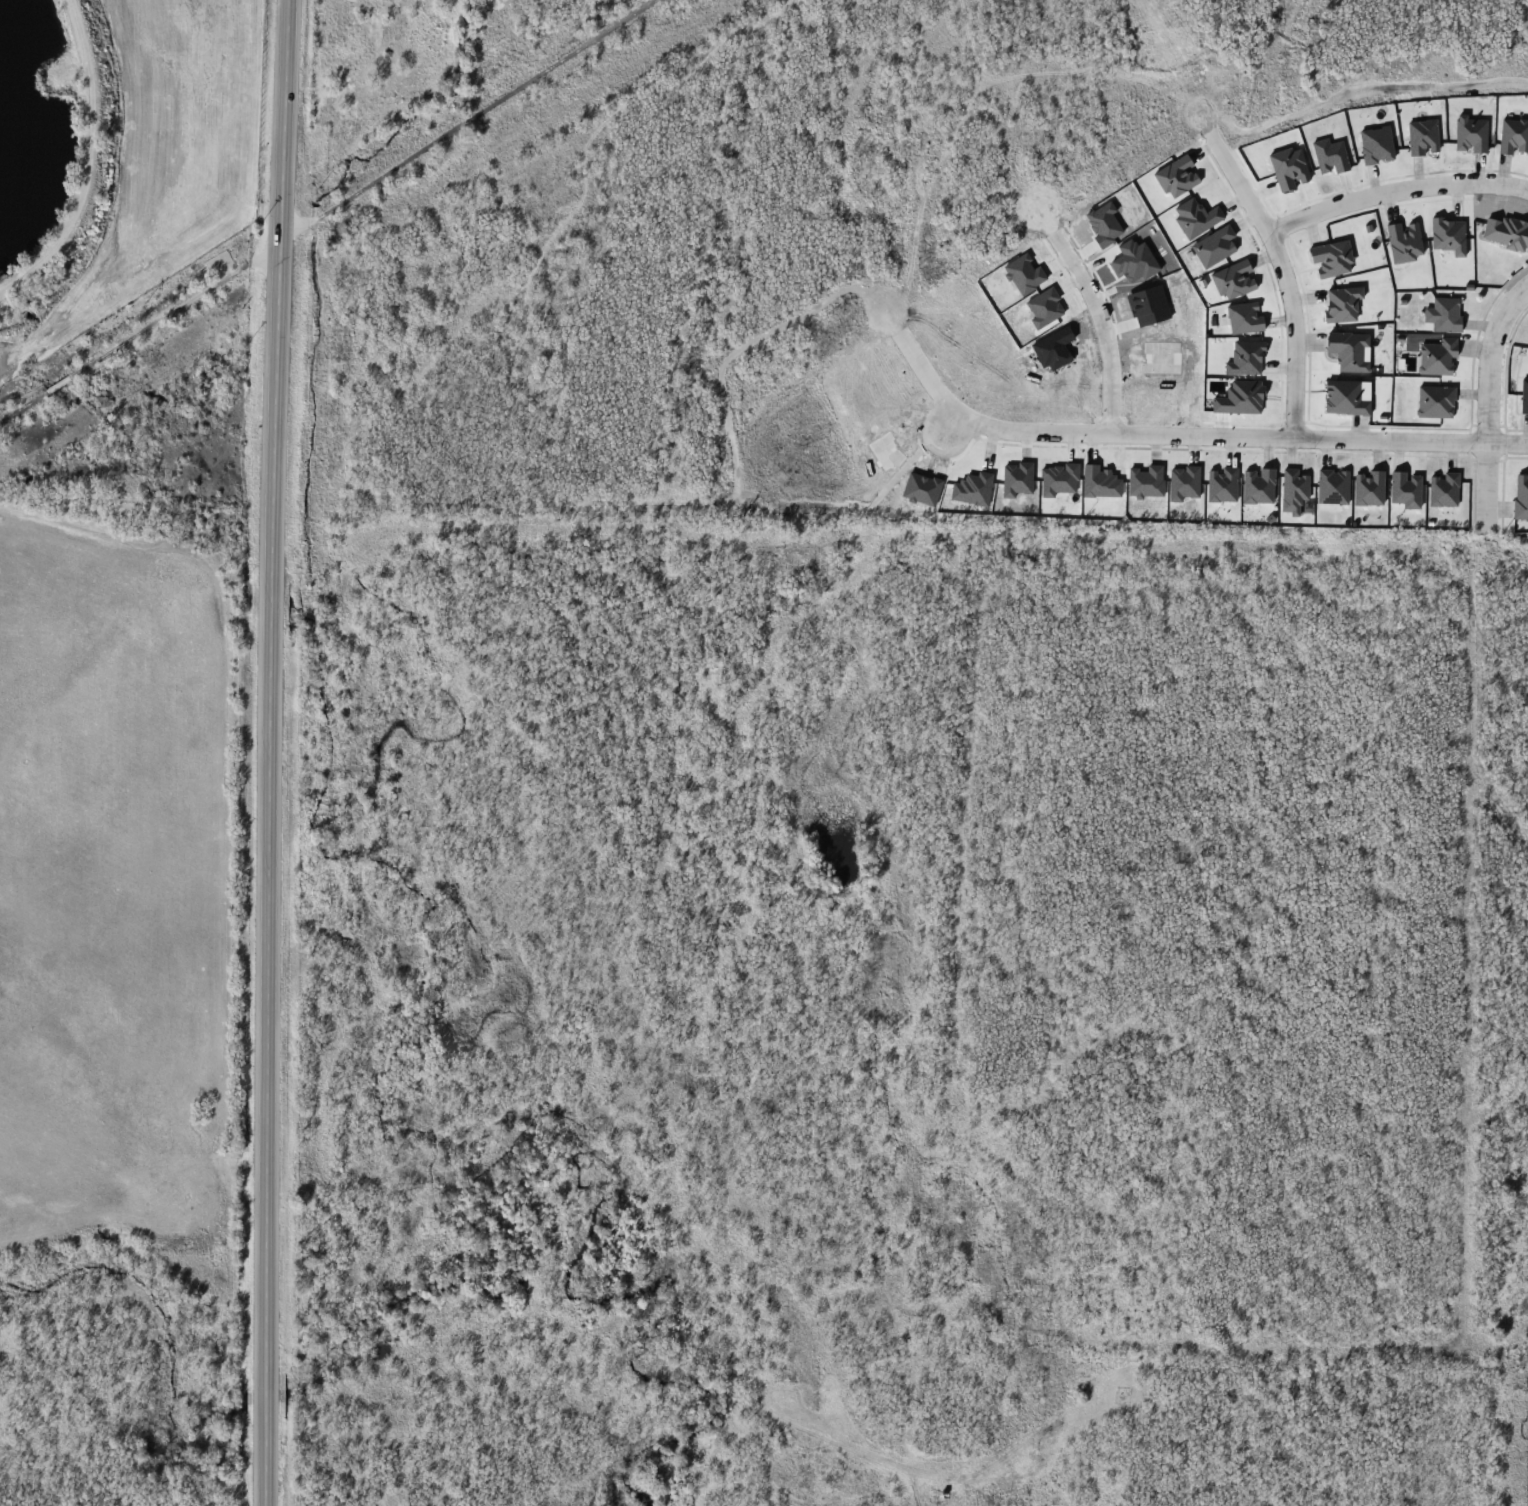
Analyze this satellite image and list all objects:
road: (1393, 196)
building: (219, 263)
road: (1281, 277)
building: (1444, 315)
road: (1101, 333)
building: (1438, 357)
road: (1484, 396)
road: (1043, 424)
road: (1379, 438)
building: (1344, 541)
road: (274, 752)

